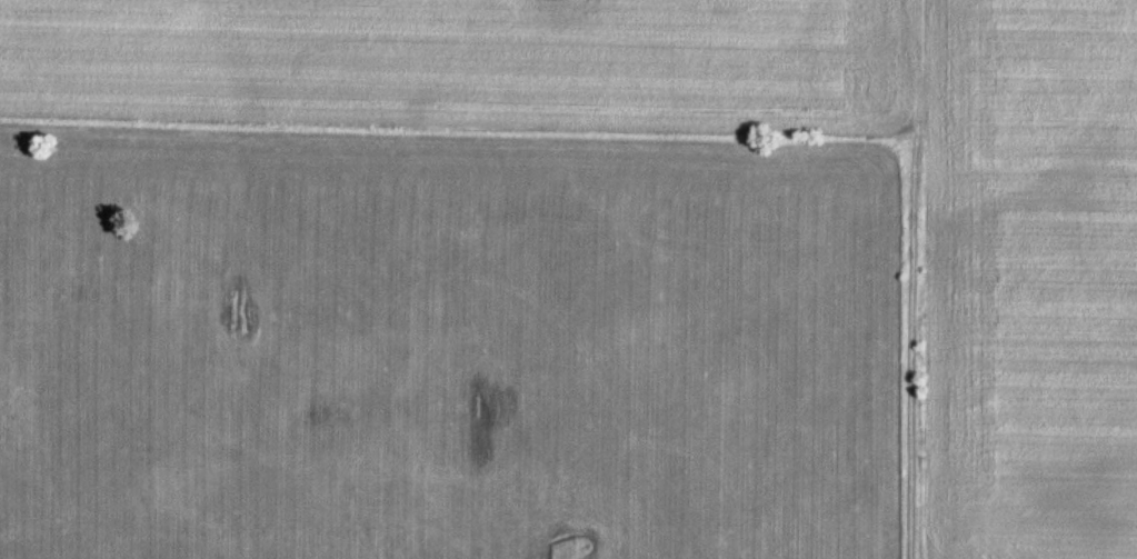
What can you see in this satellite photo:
road: (917, 279)

